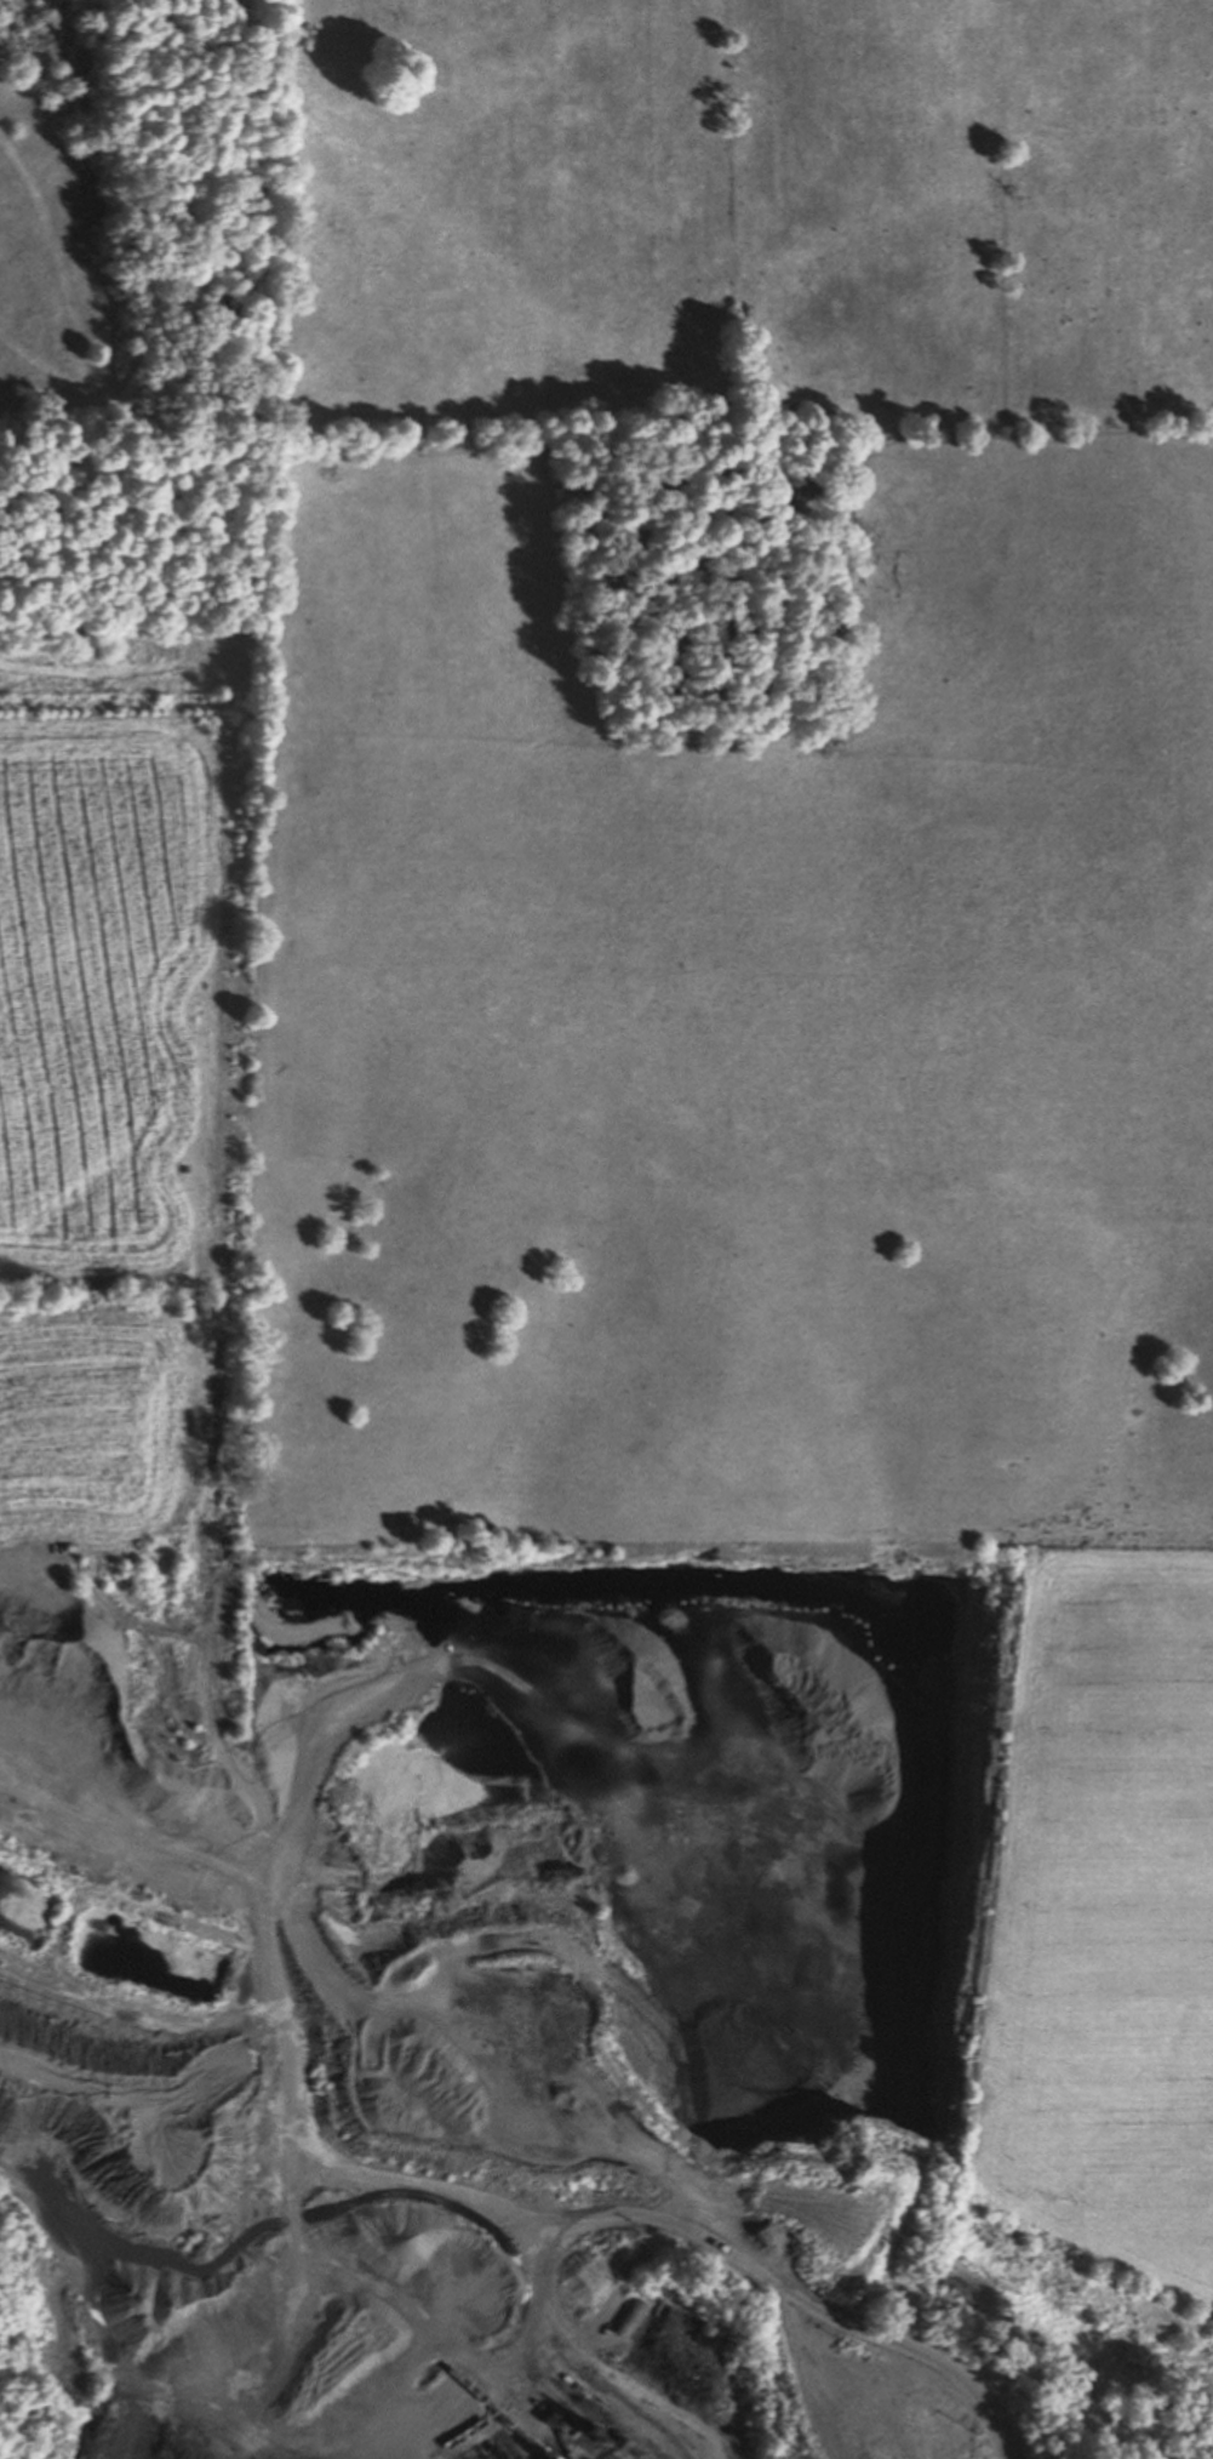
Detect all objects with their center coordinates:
quarry: (568, 2031)
road: (759, 2270)

